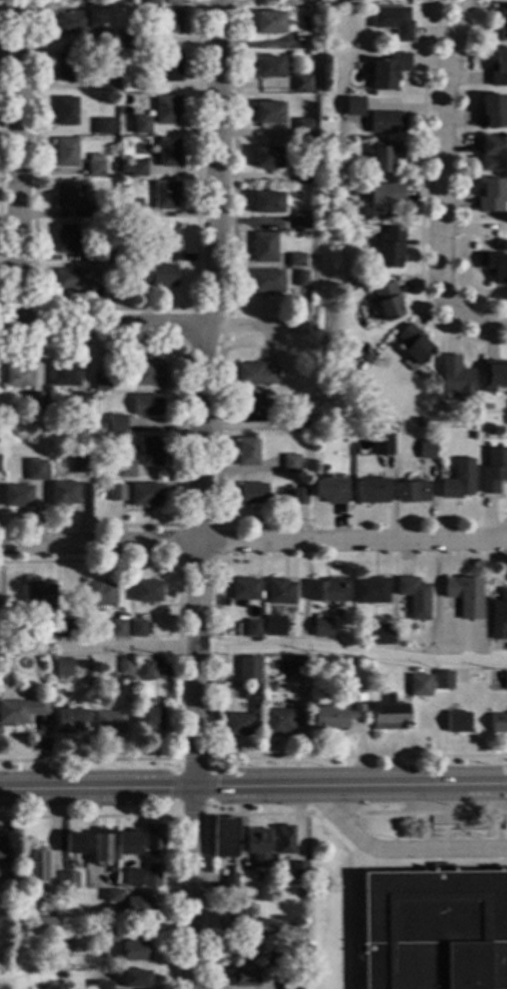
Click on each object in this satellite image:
building: (267, 0)
building: (348, 0)
building: (128, 1)
building: (150, 2)
building: (171, 2)
building: (165, 20)
building: (392, 20)
building: (71, 22)
building: (270, 22)
building: (501, 22)
building: (306, 26)
building: (103, 39)
building: (129, 40)
building: (125, 62)
building: (67, 66)
building: (169, 66)
building: (268, 66)
building: (498, 67)
building: (387, 70)
building: (102, 82)
building: (302, 82)
building: (146, 84)
building: (353, 106)
building: (166, 109)
building: (66, 110)
building: (491, 110)
building: (268, 112)
building: (385, 122)
building: (141, 124)
building: (105, 125)
building: (303, 128)
building: (65, 152)
building: (169, 152)
road: (439, 153)
building: (492, 153)
building: (384, 154)
building: (267, 157)
road: (13, 164)
building: (95, 164)
building: (134, 167)
building: (302, 175)
building: (332, 190)
building: (350, 192)
building: (165, 194)
building: (490, 195)
building: (65, 196)
road: (420, 198)
building: (381, 199)
building: (266, 202)
building: (132, 208)
building: (95, 210)
building: (301, 218)
building: (126, 230)
building: (167, 237)
building: (66, 238)
building: (264, 247)
building: (388, 247)
building: (105, 253)
building: (143, 253)
building: (296, 259)
road: (232, 262)
building: (493, 266)
building: (158, 274)
building: (74, 278)
building: (301, 278)
building: (267, 281)
building: (385, 300)
road: (475, 321)
road: (254, 327)
road: (100, 328)
building: (412, 344)
building: (148, 372)
building: (256, 373)
building: (493, 374)
building: (18, 375)
building: (65, 375)
building: (454, 375)
building: (103, 381)
building: (36, 400)
building: (81, 401)
building: (145, 405)
building: (250, 407)
building: (482, 409)
building: (297, 421)
building: (420, 421)
building: (116, 422)
building: (100, 426)
building: (346, 433)
building: (472, 435)
building: (381, 444)
building: (425, 449)
building: (150, 450)
building: (246, 451)
building: (290, 462)
building: (78, 464)
building: (125, 468)
building: (493, 469)
building: (36, 471)
building: (458, 479)
building: (200, 487)
building: (329, 489)
building: (371, 490)
building: (412, 491)
building: (119, 492)
building: (61, 493)
road: (199, 493)
building: (252, 493)
building: (100, 494)
building: (145, 494)
building: (17, 495)
building: (298, 495)
road: (253, 542)
road: (179, 560)
building: (244, 589)
building: (146, 590)
building: (326, 590)
building: (370, 590)
building: (280, 591)
building: (40, 593)
building: (99, 593)
building: (464, 595)
building: (414, 596)
building: (276, 609)
building: (500, 610)
building: (21, 614)
building: (274, 625)
building: (118, 626)
building: (322, 627)
building: (66, 628)
building: (137, 628)
building: (253, 628)
building: (381, 634)
road: (283, 648)
building: (89, 664)
building: (295, 664)
building: (126, 666)
building: (63, 667)
building: (248, 668)
building: (144, 670)
building: (1, 671)
building: (442, 679)
building: (506, 681)
building: (419, 685)
building: (269, 686)
building: (257, 701)
building: (240, 705)
building: (20, 710)
building: (357, 712)
building: (389, 714)
building: (329, 717)
building: (148, 719)
building: (70, 720)
building: (278, 721)
building: (108, 722)
building: (456, 722)
building: (498, 722)
building: (239, 724)
road: (259, 757)
road: (176, 758)
road: (253, 786)
road: (270, 813)
road: (497, 817)
road: (439, 821)
road: (471, 821)
road: (472, 823)
road: (488, 826)
road: (442, 829)
building: (153, 836)
building: (224, 837)
building: (283, 840)
building: (126, 841)
building: (74, 842)
building: (257, 846)
building: (101, 848)
building: (2, 849)
road: (399, 849)
road: (442, 850)
road: (400, 861)
building: (36, 865)
building: (110, 868)
building: (277, 870)
building: (297, 870)
building: (1, 871)
building: (151, 875)
building: (132, 877)
building: (68, 880)
building: (230, 880)
building: (4, 898)
building: (132, 903)
building: (240, 907)
road: (353, 922)
building: (44, 925)
building: (16, 927)
building: (266, 928)
building: (434, 929)
building: (66, 935)
building: (109, 936)
building: (135, 950)
building: (243, 950)
building: (278, 960)
building: (1, 962)
building: (244, 977)
building: (135, 978)
building: (289, 983)
building: (103, 985)

